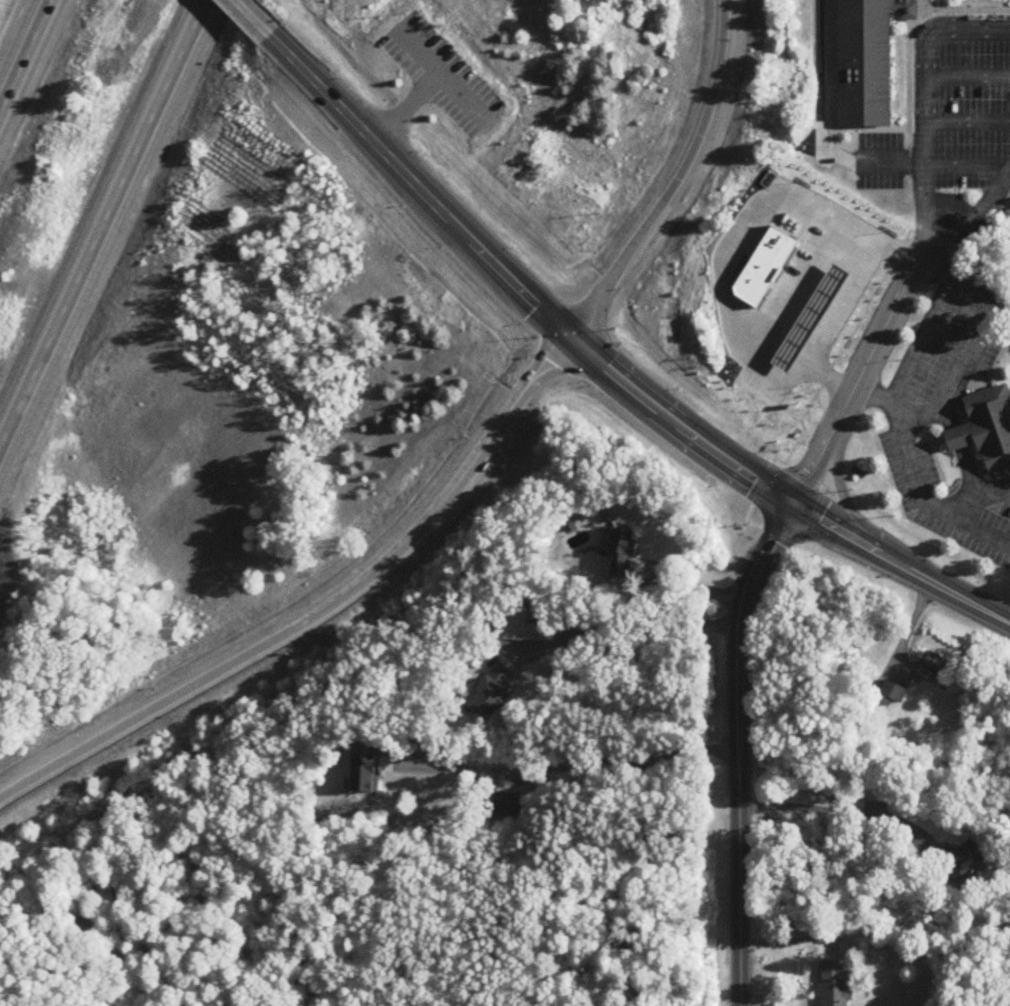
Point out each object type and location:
road: (245, 11)
road: (918, 49)
road: (419, 52)
road: (27, 59)
building: (861, 60)
parking lot: (437, 67)
road: (964, 73)
road: (455, 90)
road: (403, 113)
road: (964, 118)
road: (813, 126)
park: (833, 142)
road: (964, 164)
road: (1009, 164)
road: (920, 177)
road: (677, 180)
road: (928, 214)
road: (104, 223)
road: (723, 258)
road: (894, 323)
road: (979, 333)
traffic signals: (569, 335)
road: (918, 338)
road: (601, 363)
road: (921, 407)
building: (986, 423)
road: (954, 438)
road: (916, 483)
road: (971, 490)
road: (1003, 490)
road: (965, 506)
road: (690, 589)
road: (323, 612)
road: (629, 626)
building: (535, 634)
building: (930, 663)
building: (494, 692)
building: (893, 695)
road: (739, 746)
road: (572, 773)
road: (829, 811)
building: (963, 862)
road: (794, 940)
building: (836, 985)

